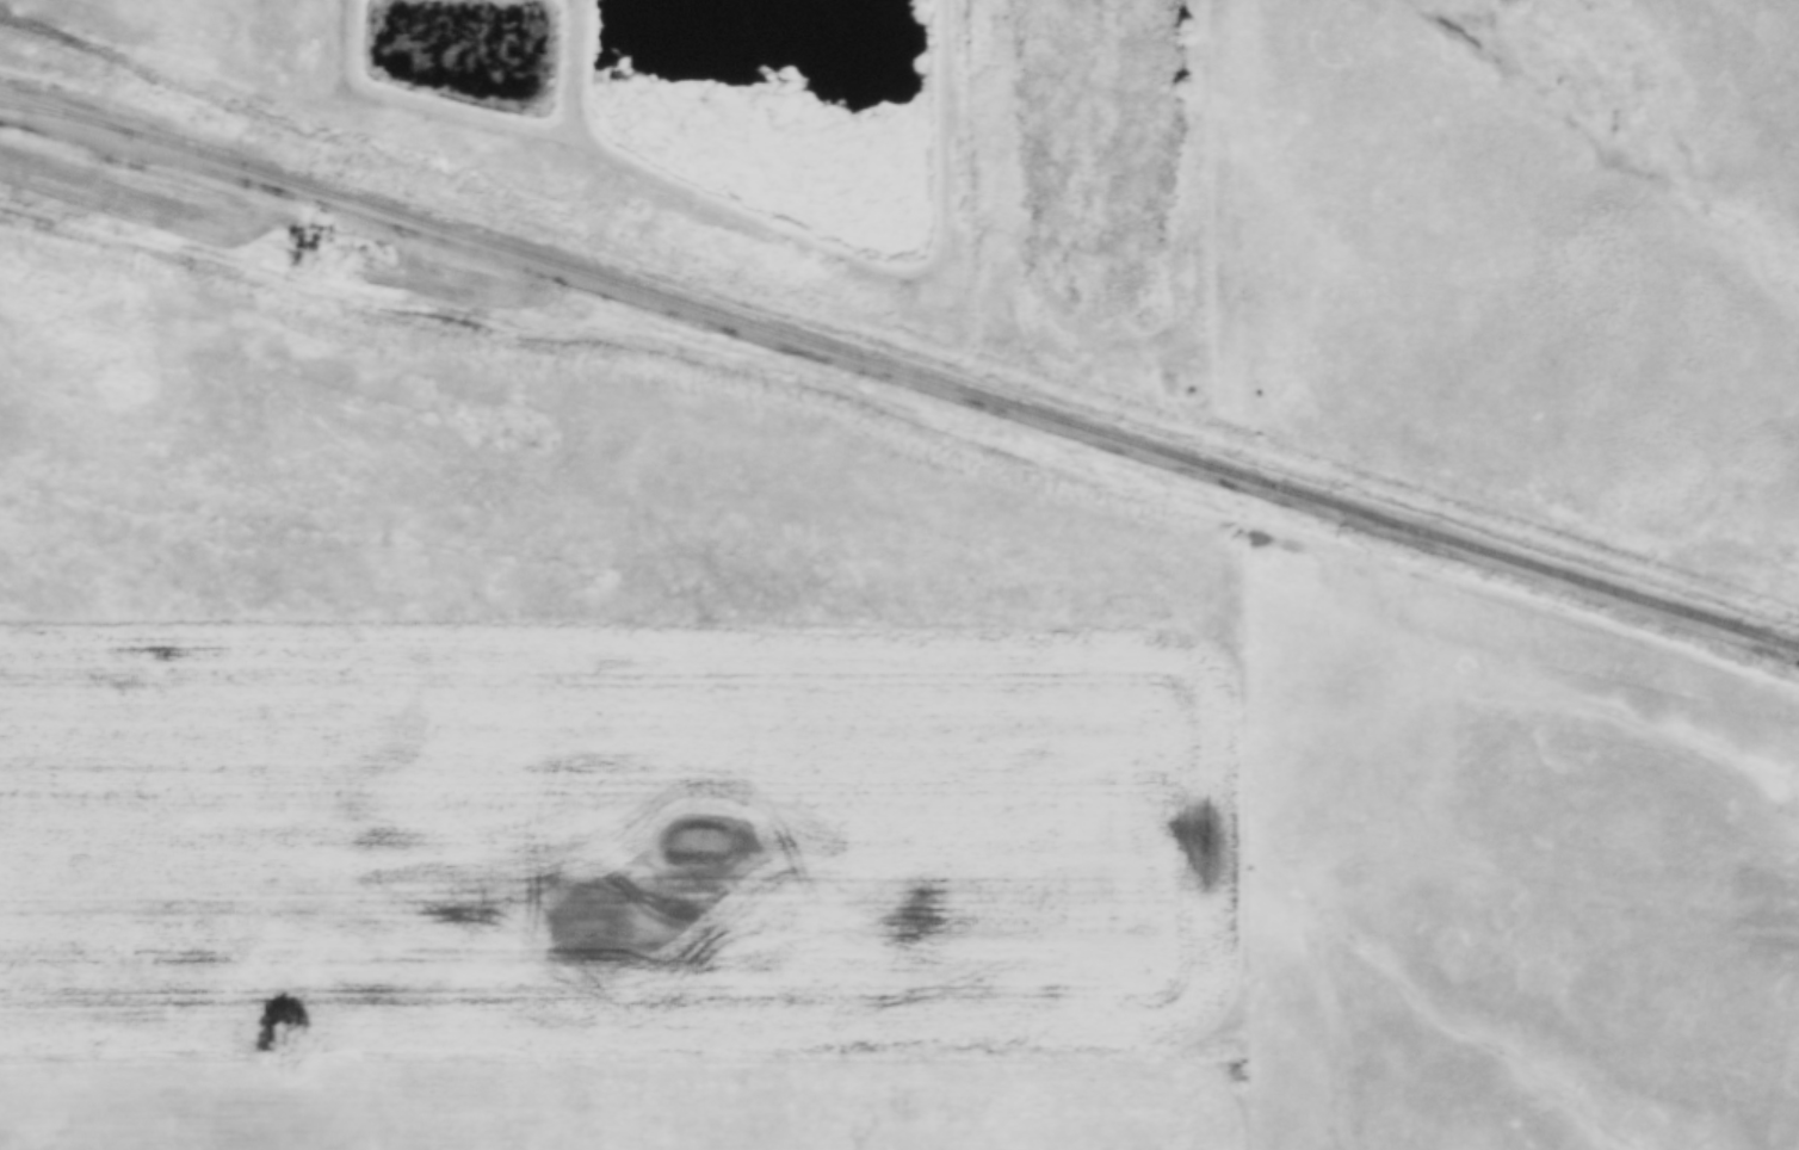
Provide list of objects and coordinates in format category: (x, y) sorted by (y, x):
road: (574, 63)
railway: (62, 122)
railway: (897, 375)

